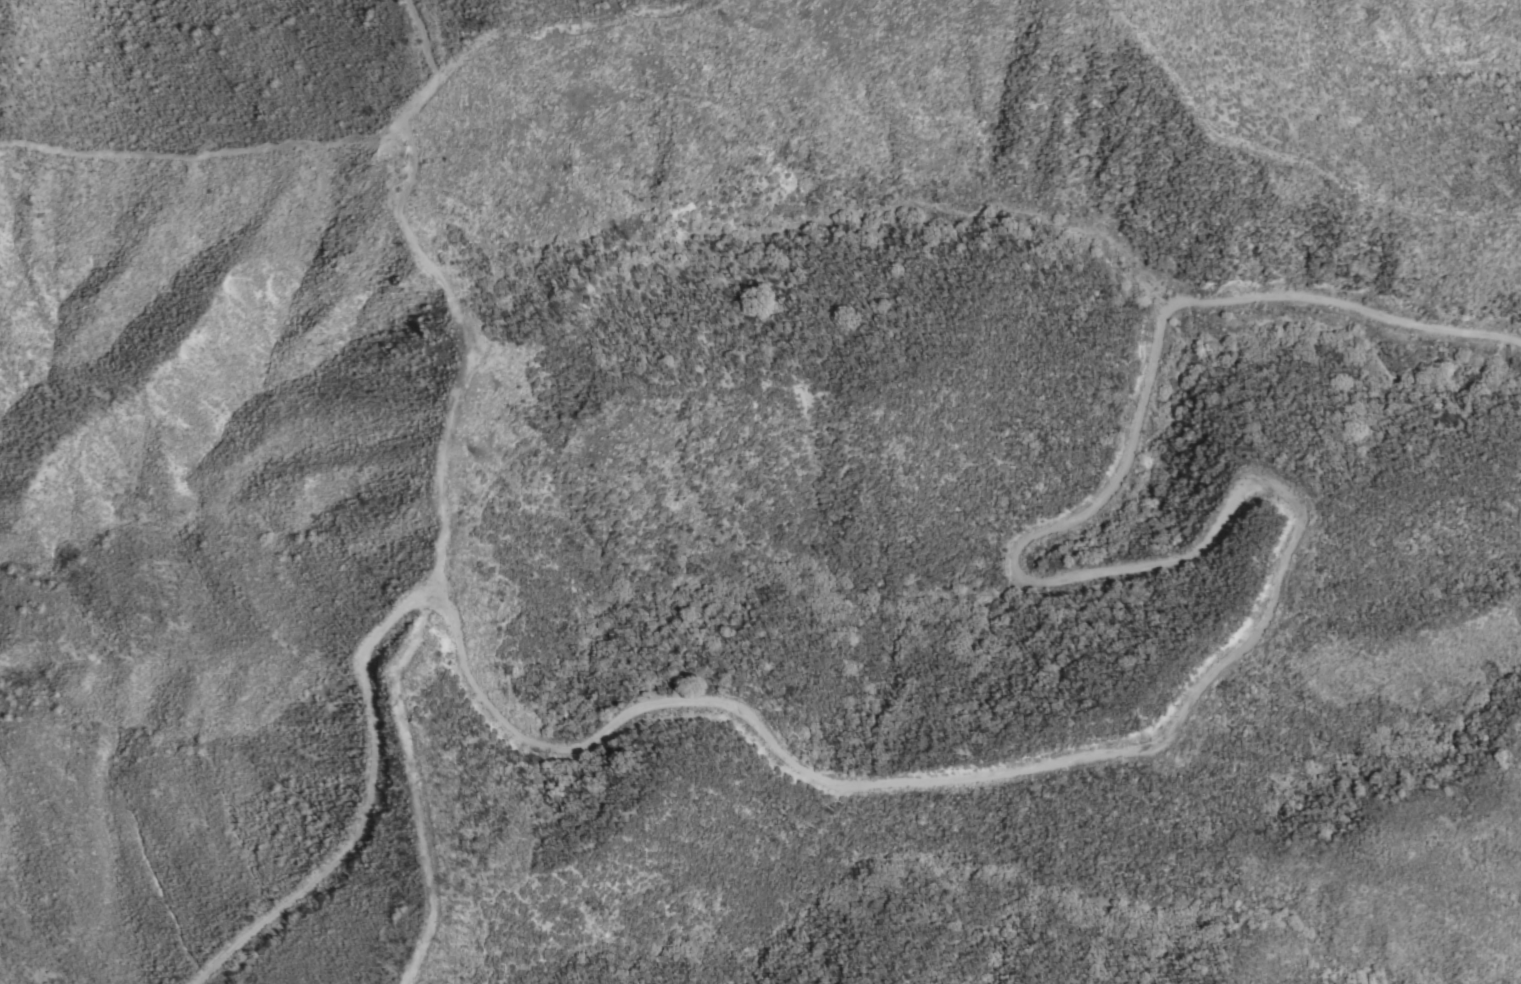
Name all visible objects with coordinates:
road: (1151, 745)

